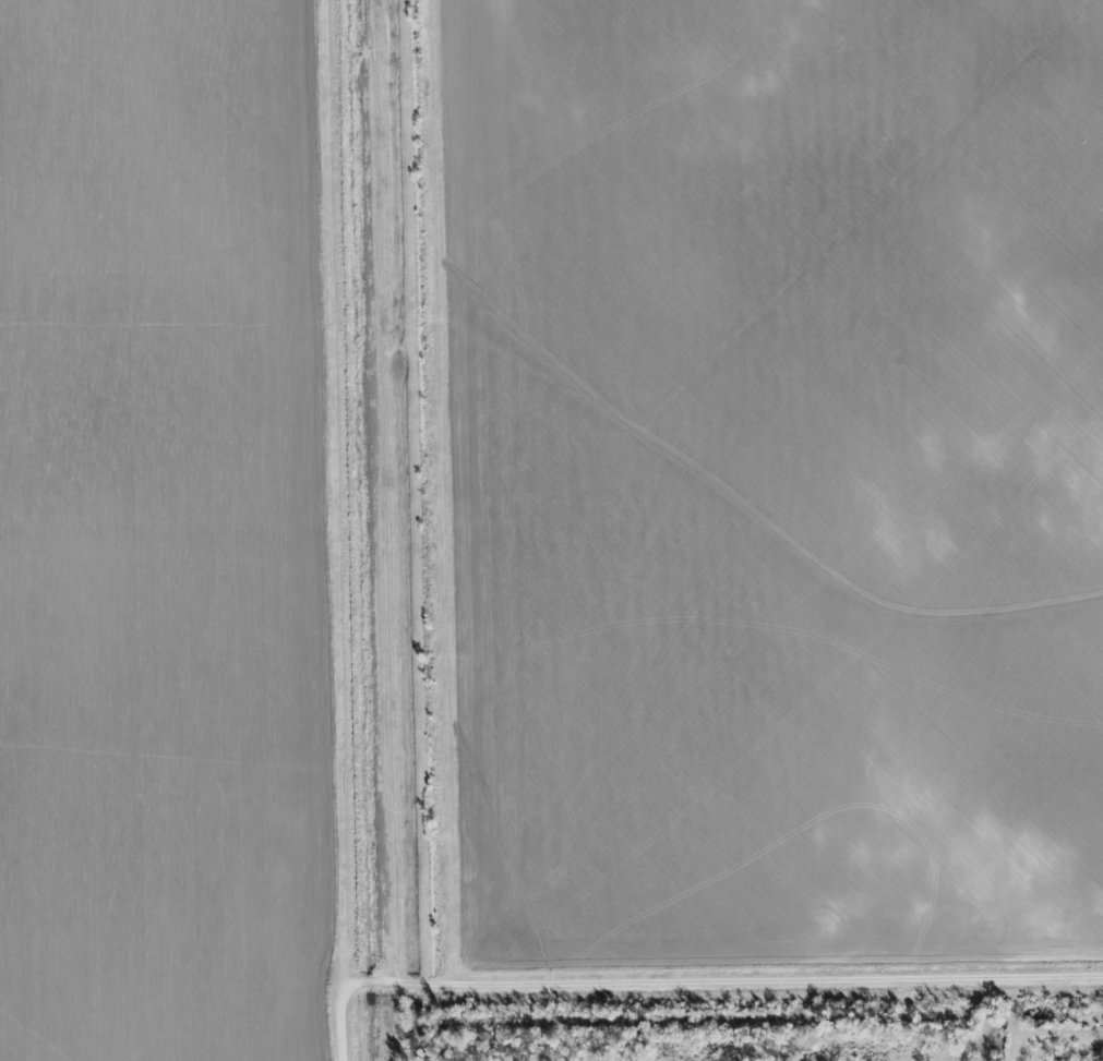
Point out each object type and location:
road: (663, 985)
road: (1039, 994)

